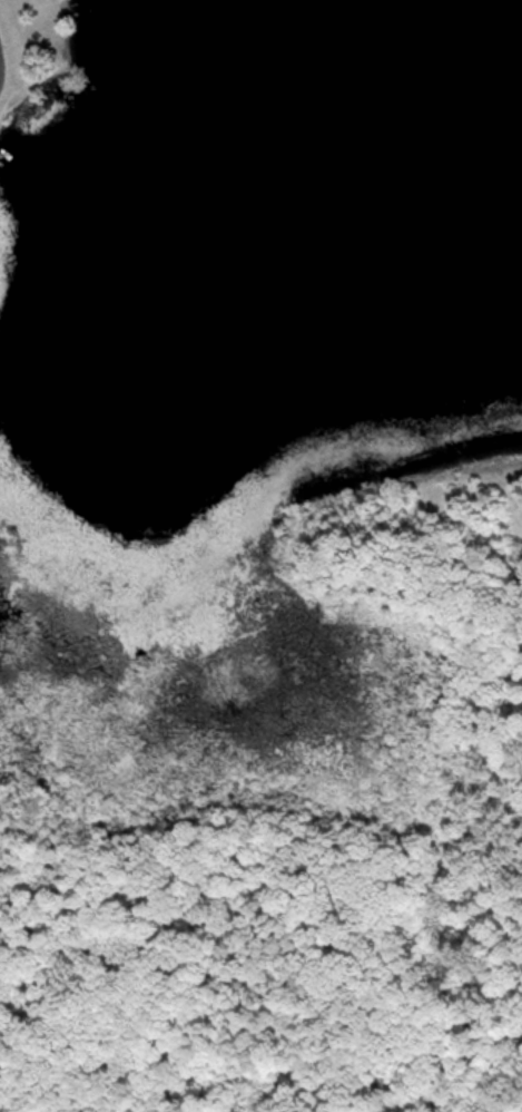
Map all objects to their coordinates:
park: (32, 46)
pier: (0, 155)
park: (2, 542)
park: (277, 823)

